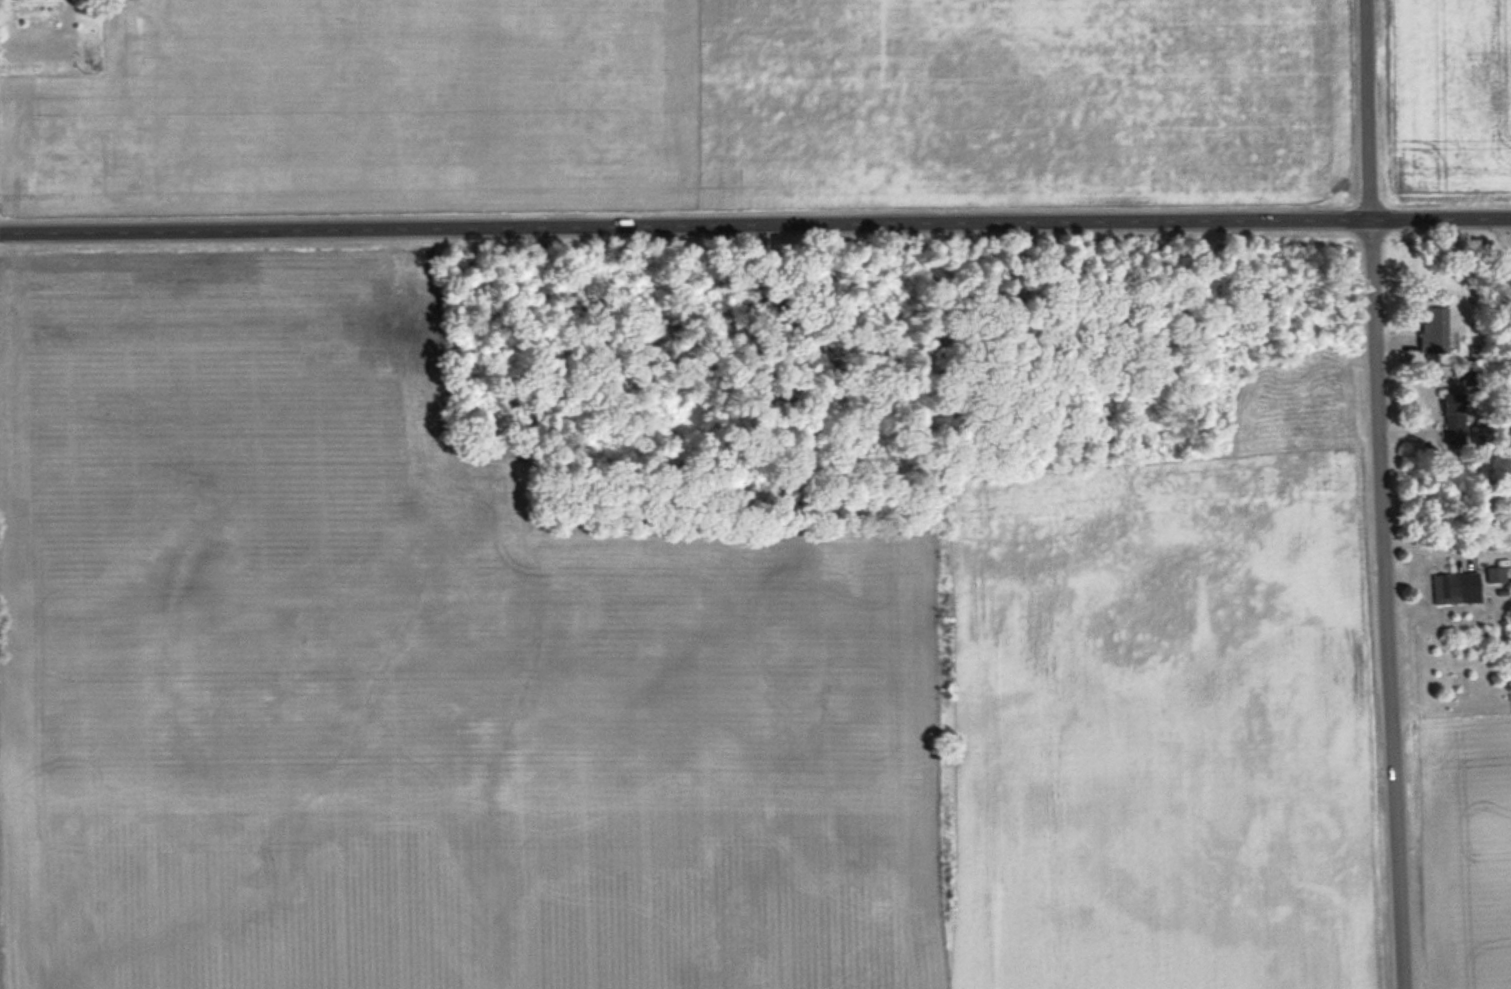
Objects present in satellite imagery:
road: (755, 231)
building: (1437, 327)
road: (1384, 494)
building: (1496, 573)
building: (1447, 588)

